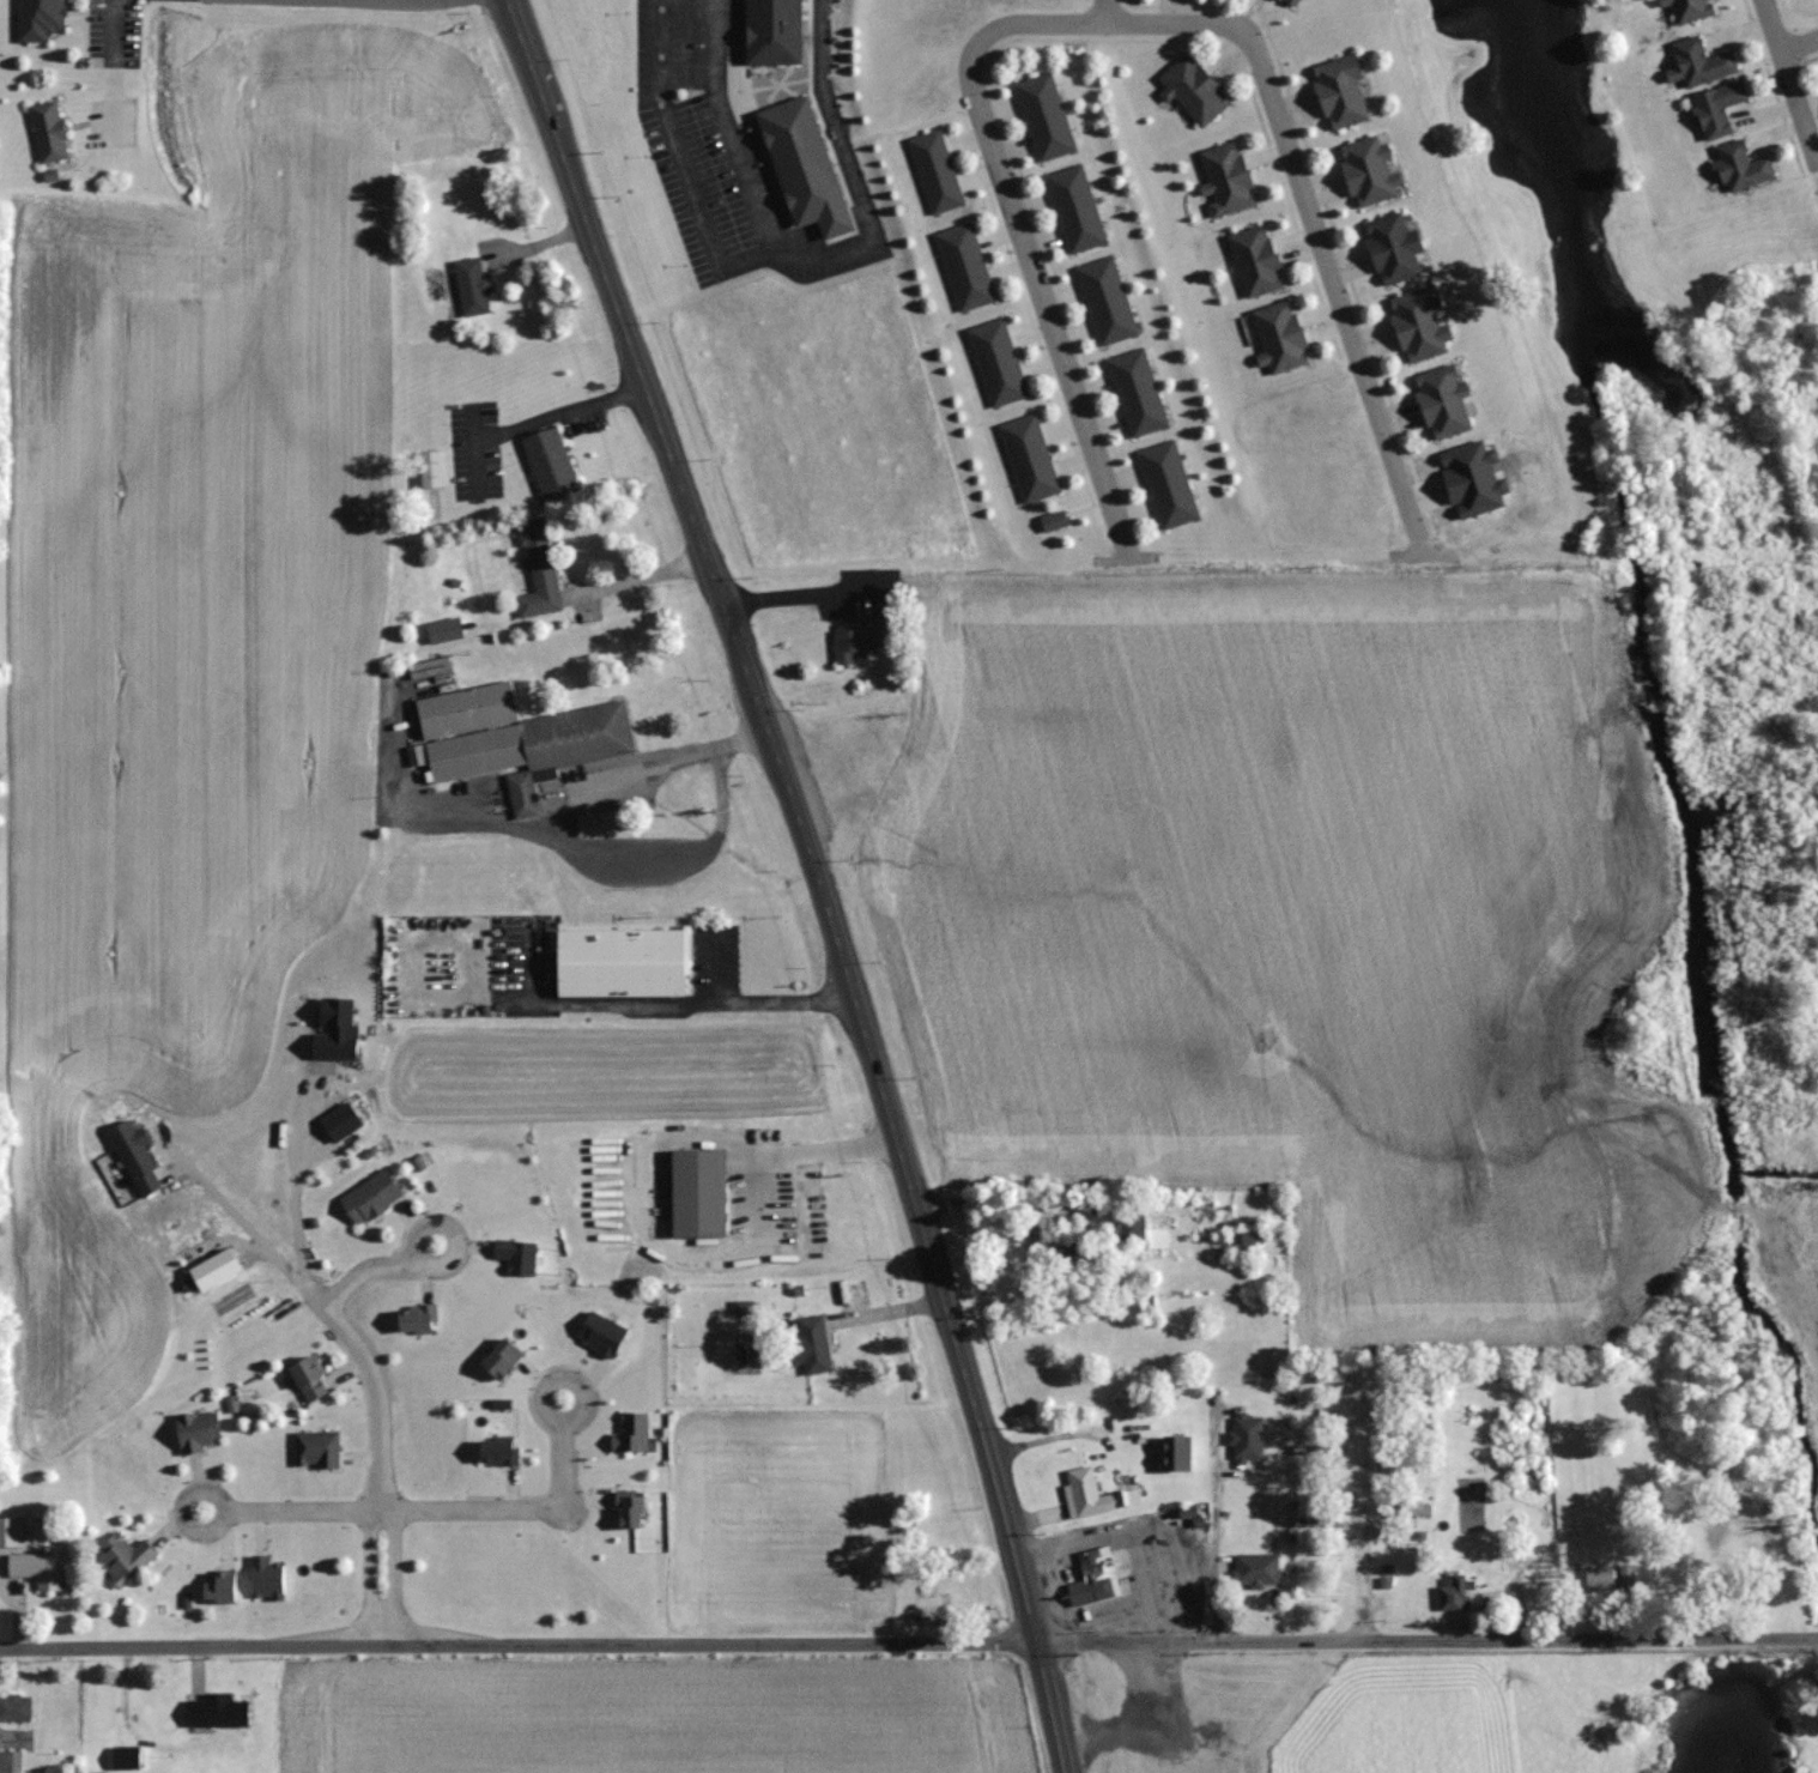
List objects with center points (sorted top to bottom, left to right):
road: (388, 0)
building: (1292, 1)
building: (1689, 8)
building: (38, 18)
building: (771, 30)
road: (1800, 42)
road: (108, 58)
building: (1698, 61)
road: (1792, 81)
building: (1193, 87)
building: (1340, 91)
building: (1716, 107)
building: (1043, 116)
building: (47, 129)
building: (802, 165)
building: (1740, 165)
building: (934, 170)
building: (1368, 170)
building: (1225, 177)
building: (1074, 208)
road: (1309, 210)
road: (1022, 241)
building: (1392, 248)
building: (1255, 260)
building: (964, 266)
road: (813, 272)
building: (471, 286)
building: (1105, 301)
building: (1418, 325)
building: (1279, 337)
building: (996, 362)
building: (1135, 392)
building: (1441, 400)
building: (1028, 458)
building: (549, 461)
building: (430, 468)
building: (1166, 484)
building: (1053, 520)
building: (538, 570)
building: (443, 629)
building: (861, 636)
building: (514, 738)
road: (601, 780)
road: (818, 876)
building: (619, 962)
road: (715, 966)
road: (656, 1002)
road: (831, 1150)
road: (293, 1190)
building: (697, 1192)
building: (369, 1197)
building: (1129, 1226)
road: (244, 1227)
road: (450, 1227)
building: (1241, 1242)
building: (1062, 1253)
building: (515, 1255)
road: (363, 1267)
building: (414, 1318)
building: (810, 1344)
road: (562, 1375)
building: (1319, 1375)
building: (308, 1378)
road: (371, 1387)
building: (1405, 1427)
building: (195, 1430)
building: (630, 1433)
building: (1246, 1436)
building: (315, 1448)
building: (1314, 1448)
building: (497, 1451)
building: (1404, 1465)
building: (1084, 1490)
road: (1364, 1502)
road: (436, 1506)
building: (628, 1508)
building: (1404, 1508)
road: (180, 1509)
building: (1317, 1520)
building: (123, 1556)
building: (1320, 1557)
building: (36, 1568)
building: (1255, 1569)
road: (394, 1573)
road: (366, 1574)
building: (1091, 1578)
building: (1384, 1578)
building: (1599, 1578)
building: (1453, 1591)
building: (925, 1614)
road: (1426, 1638)
road: (519, 1645)
building: (14, 1706)
building: (216, 1710)
building: (8, 1761)

